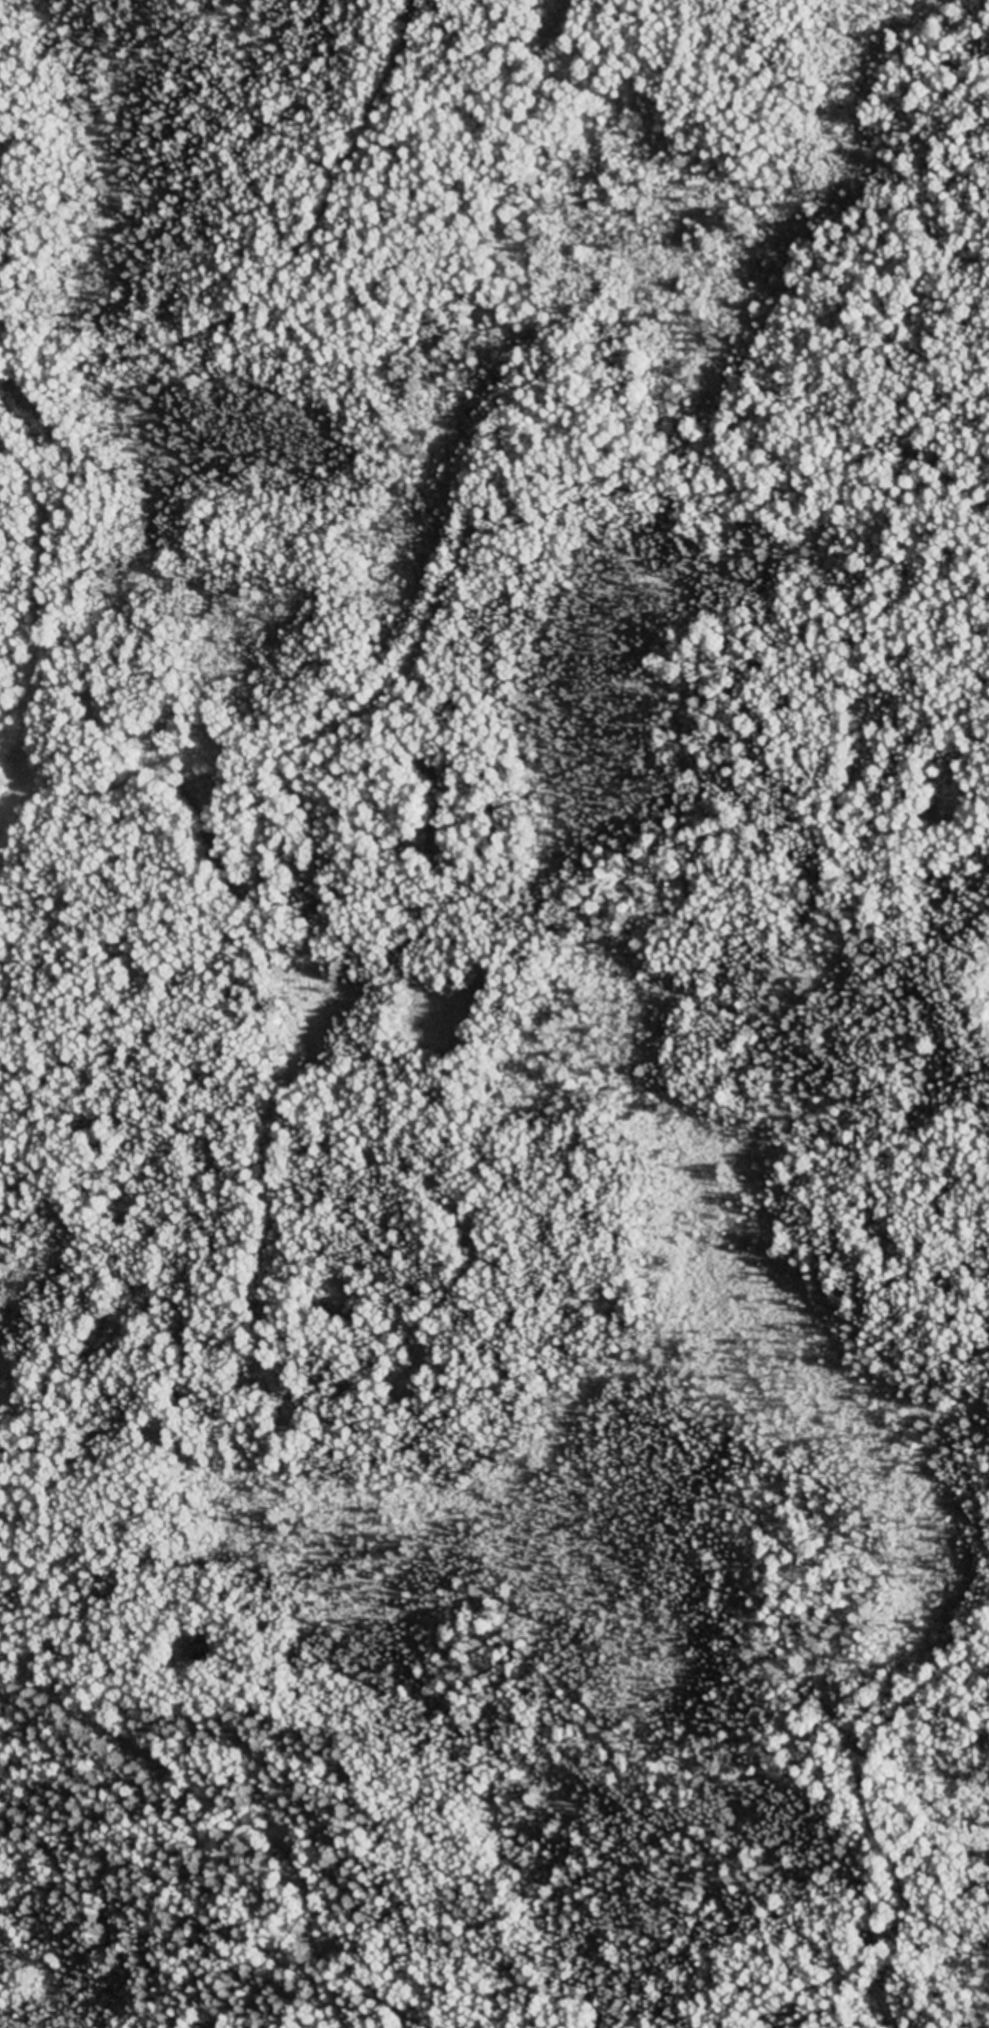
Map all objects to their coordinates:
road: (43, 161)
road: (282, 289)
road: (496, 571)
road: (26, 587)
road: (236, 1777)
road: (901, 1847)

